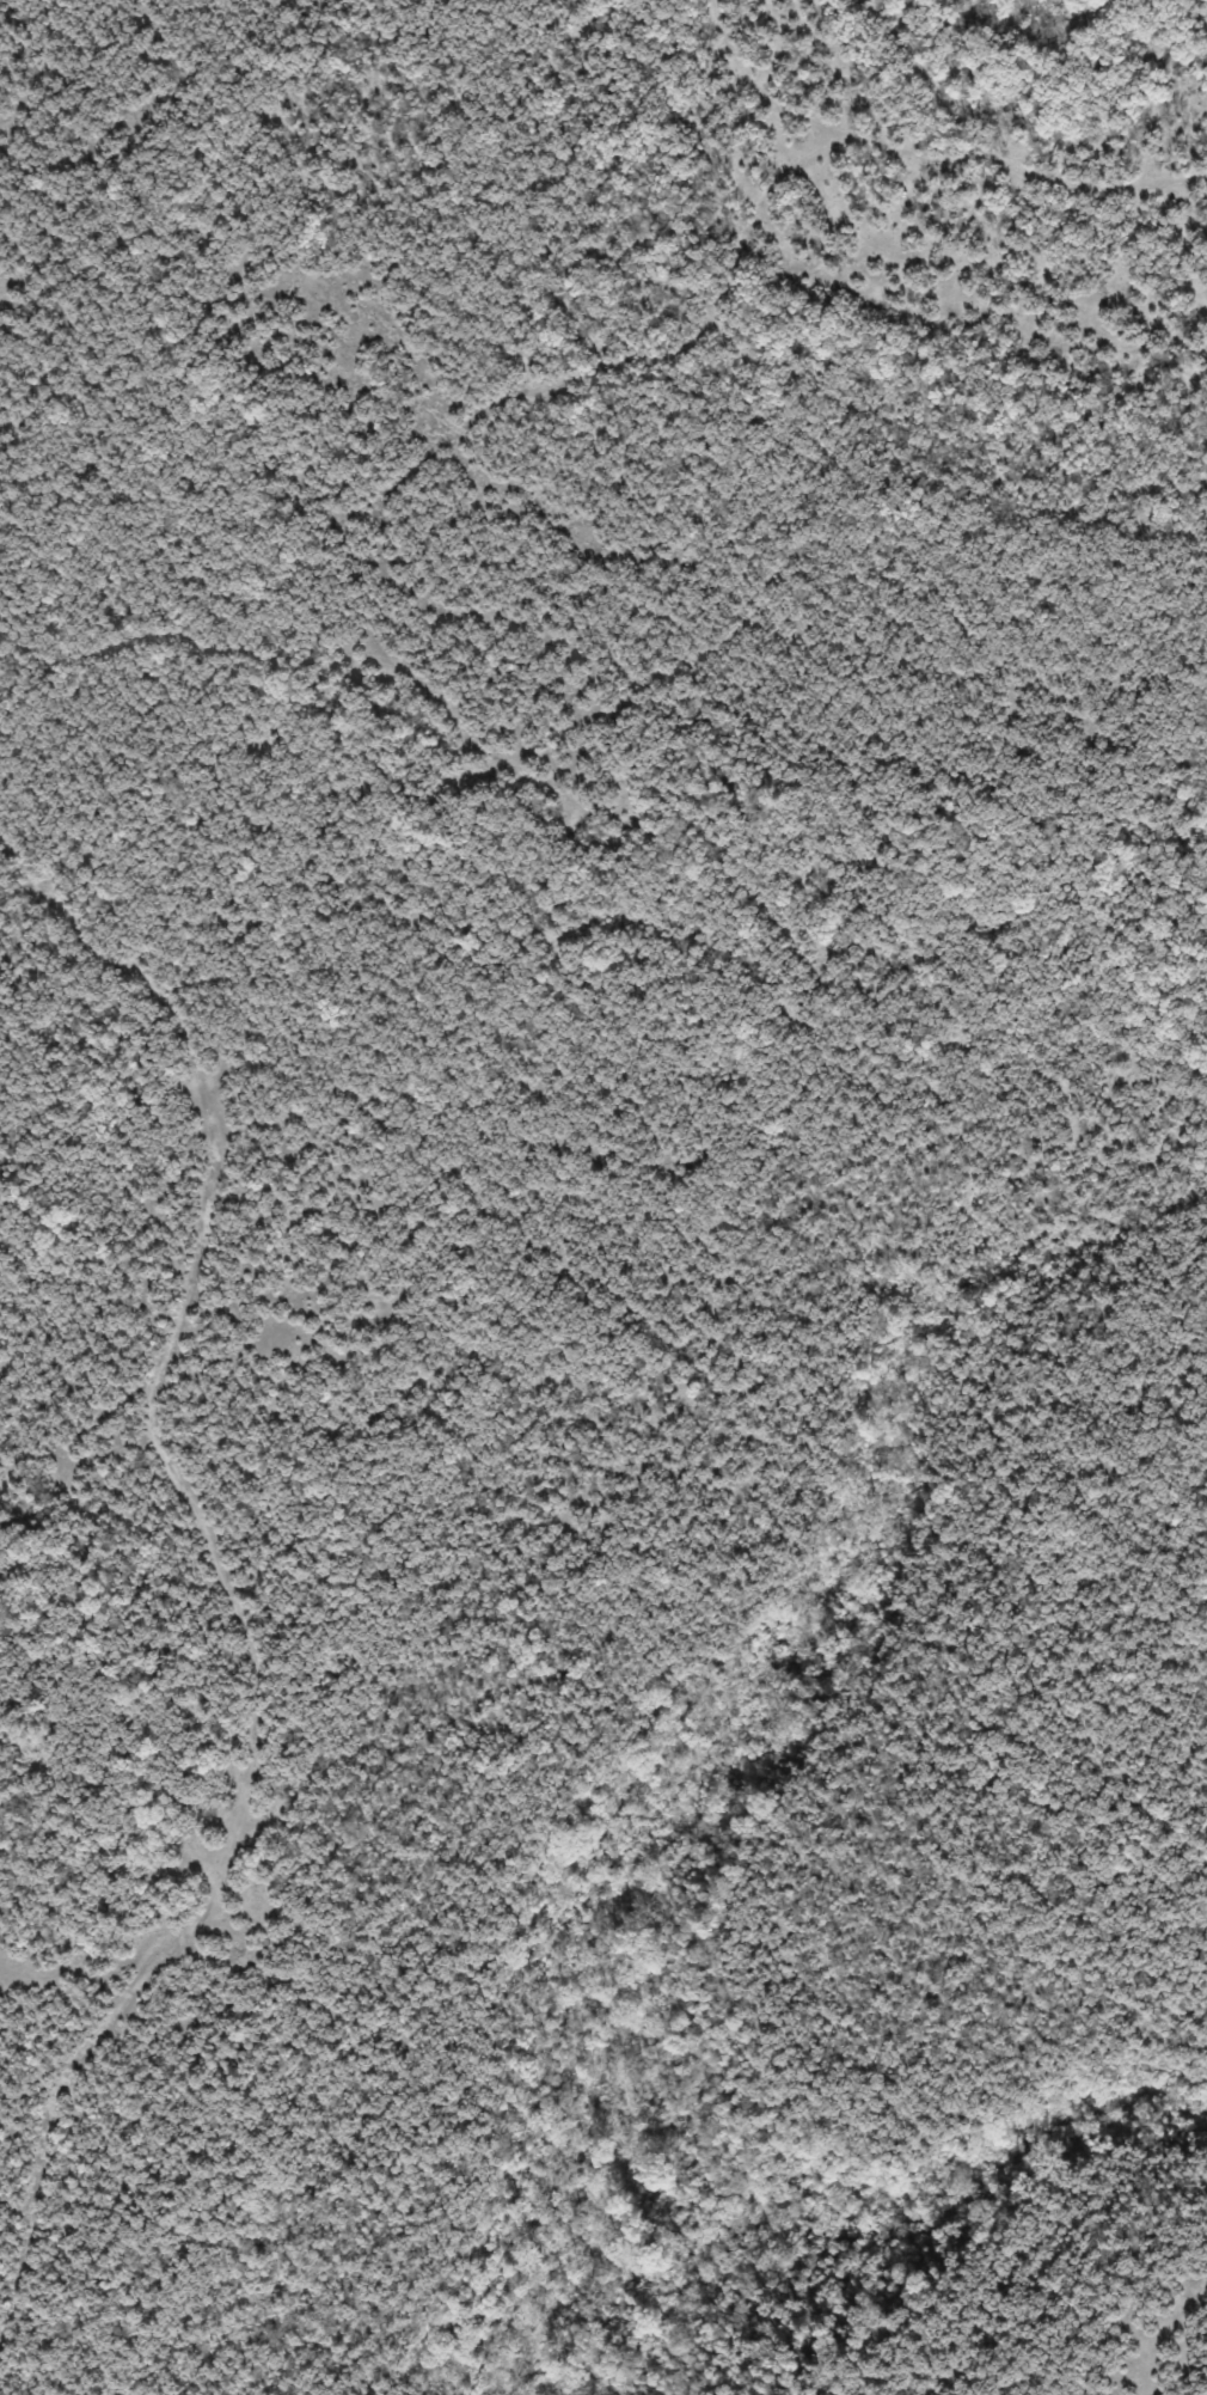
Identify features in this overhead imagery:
road: (51, 128)
road: (201, 1197)
road: (149, 1997)

